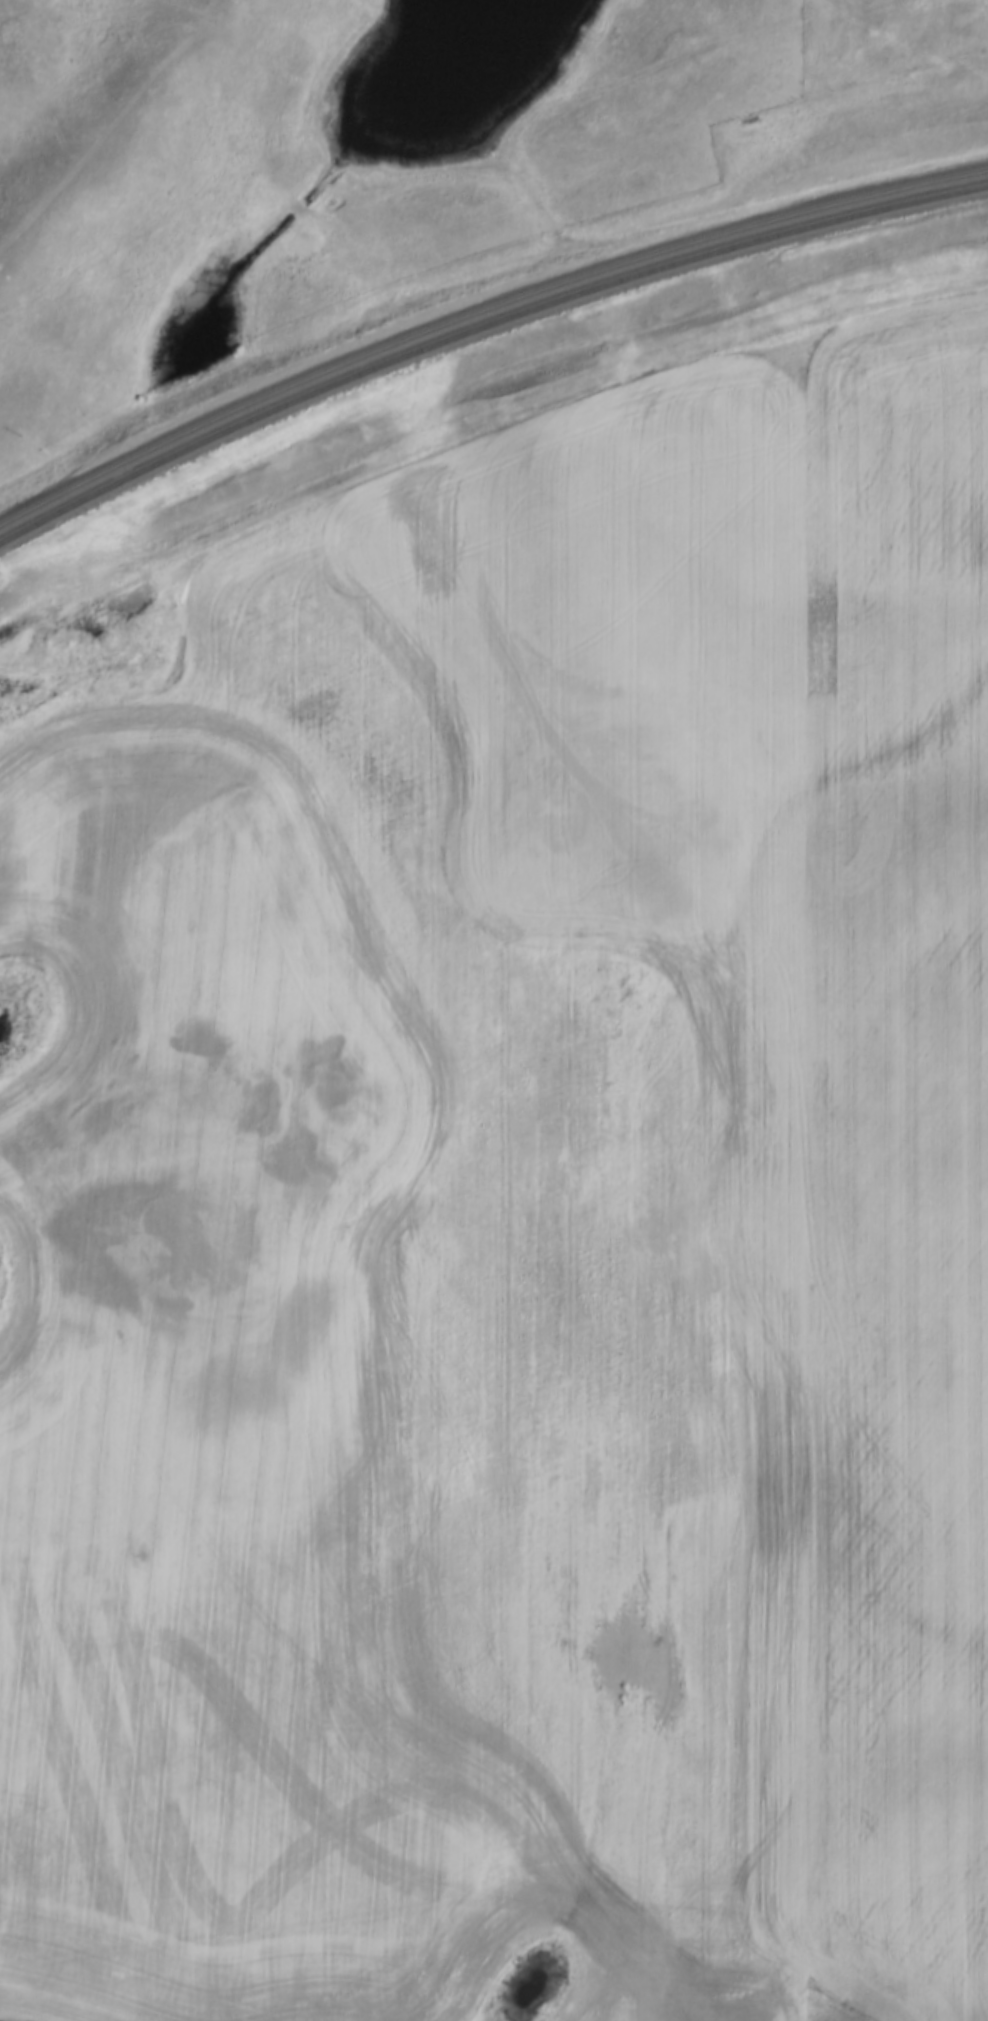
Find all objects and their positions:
railway: (480, 300)
railway: (481, 327)

